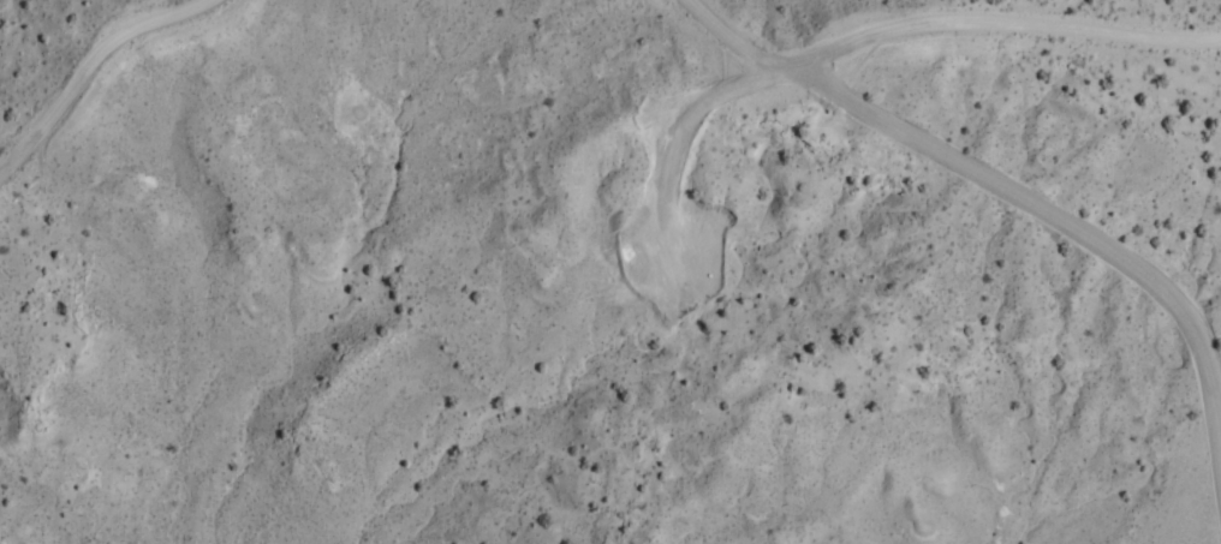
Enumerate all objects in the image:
road: (947, 13)
road: (89, 67)

